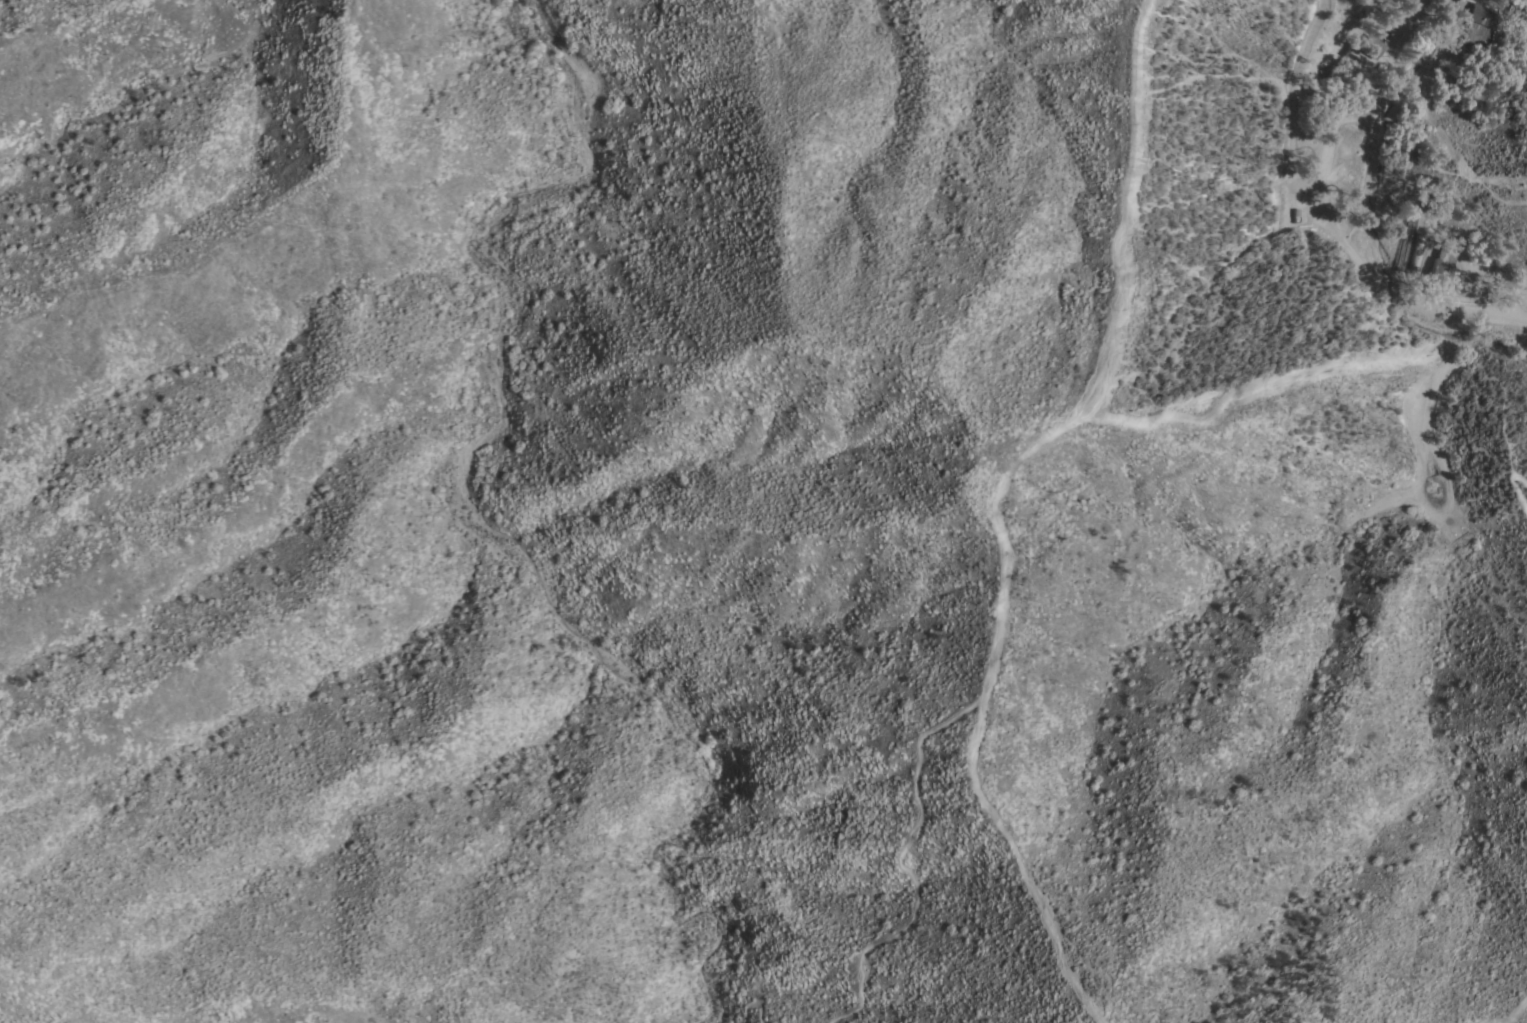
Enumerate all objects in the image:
building: (1482, 14)
building: (1475, 34)
building: (1495, 36)
building: (1416, 250)
building: (1439, 270)

